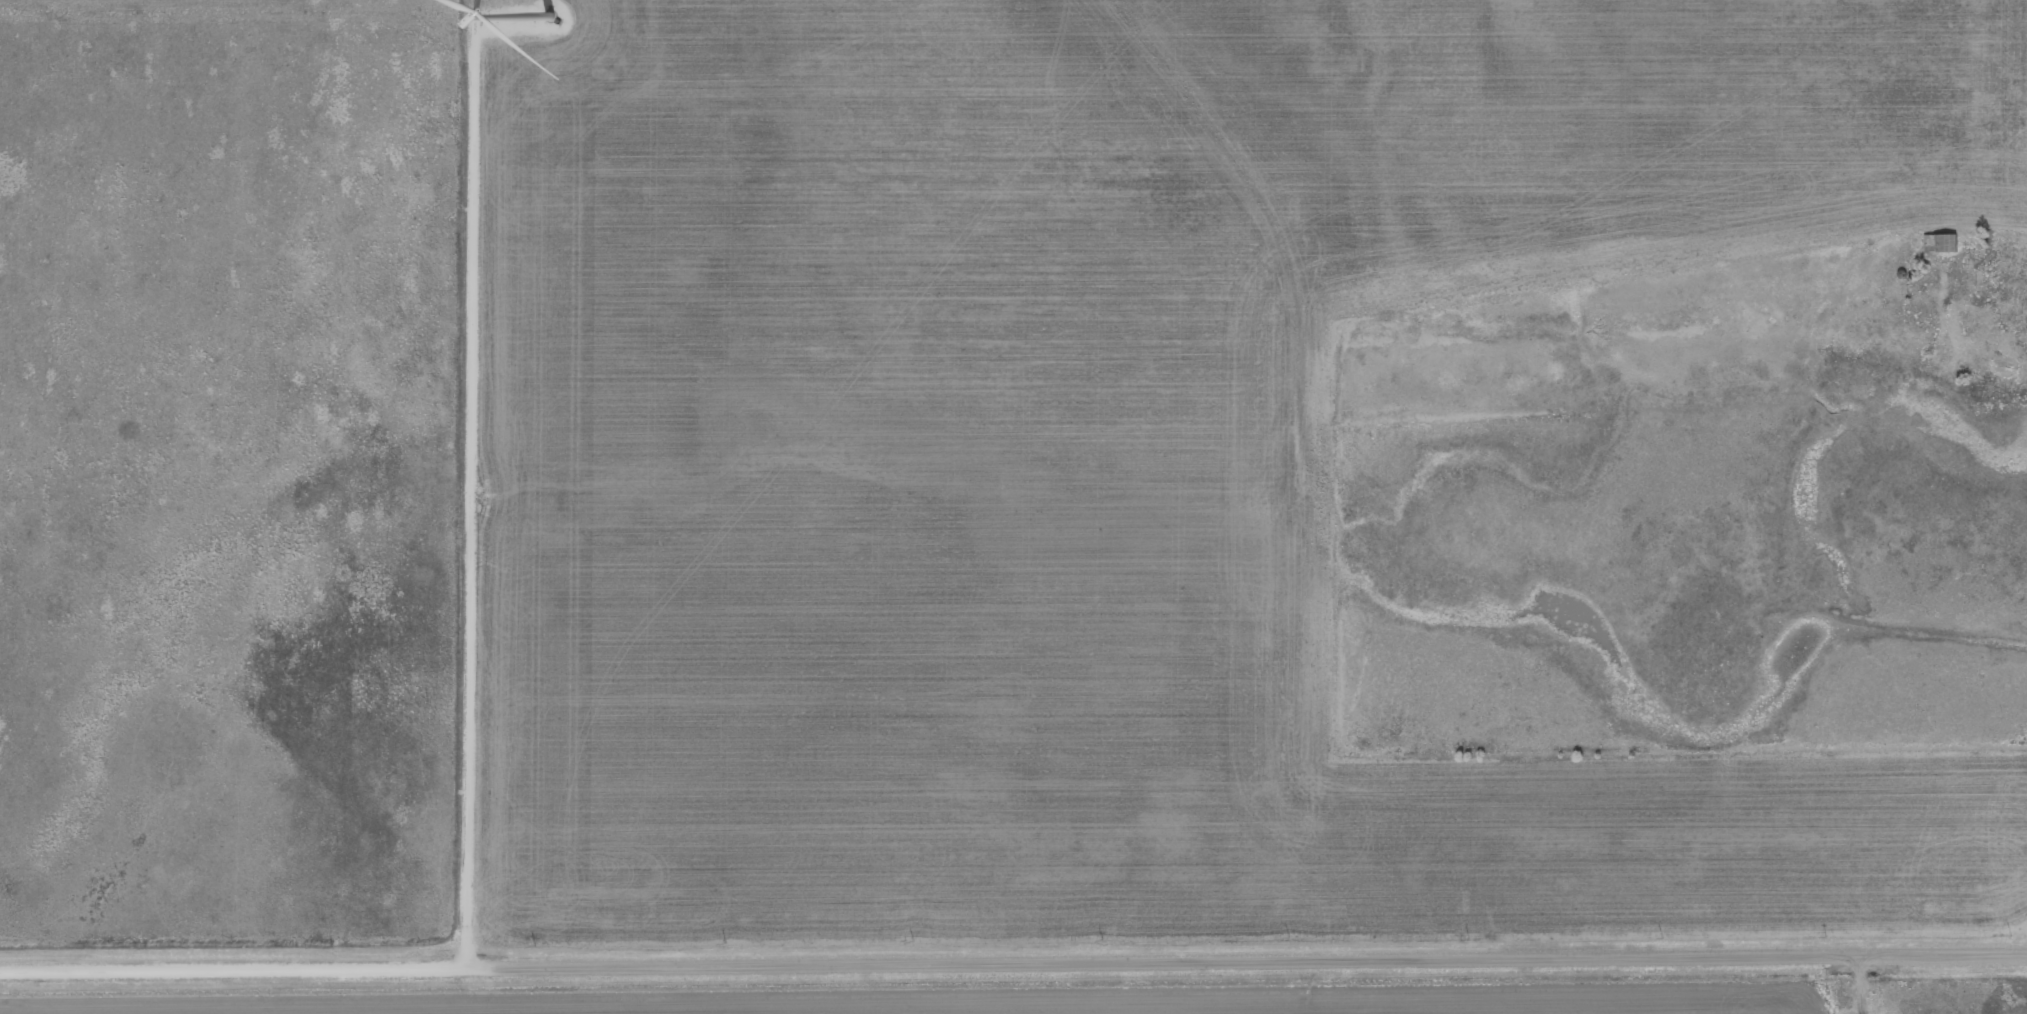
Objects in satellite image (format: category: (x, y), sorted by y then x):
wind turbine: (548, 21)
road: (1013, 959)

